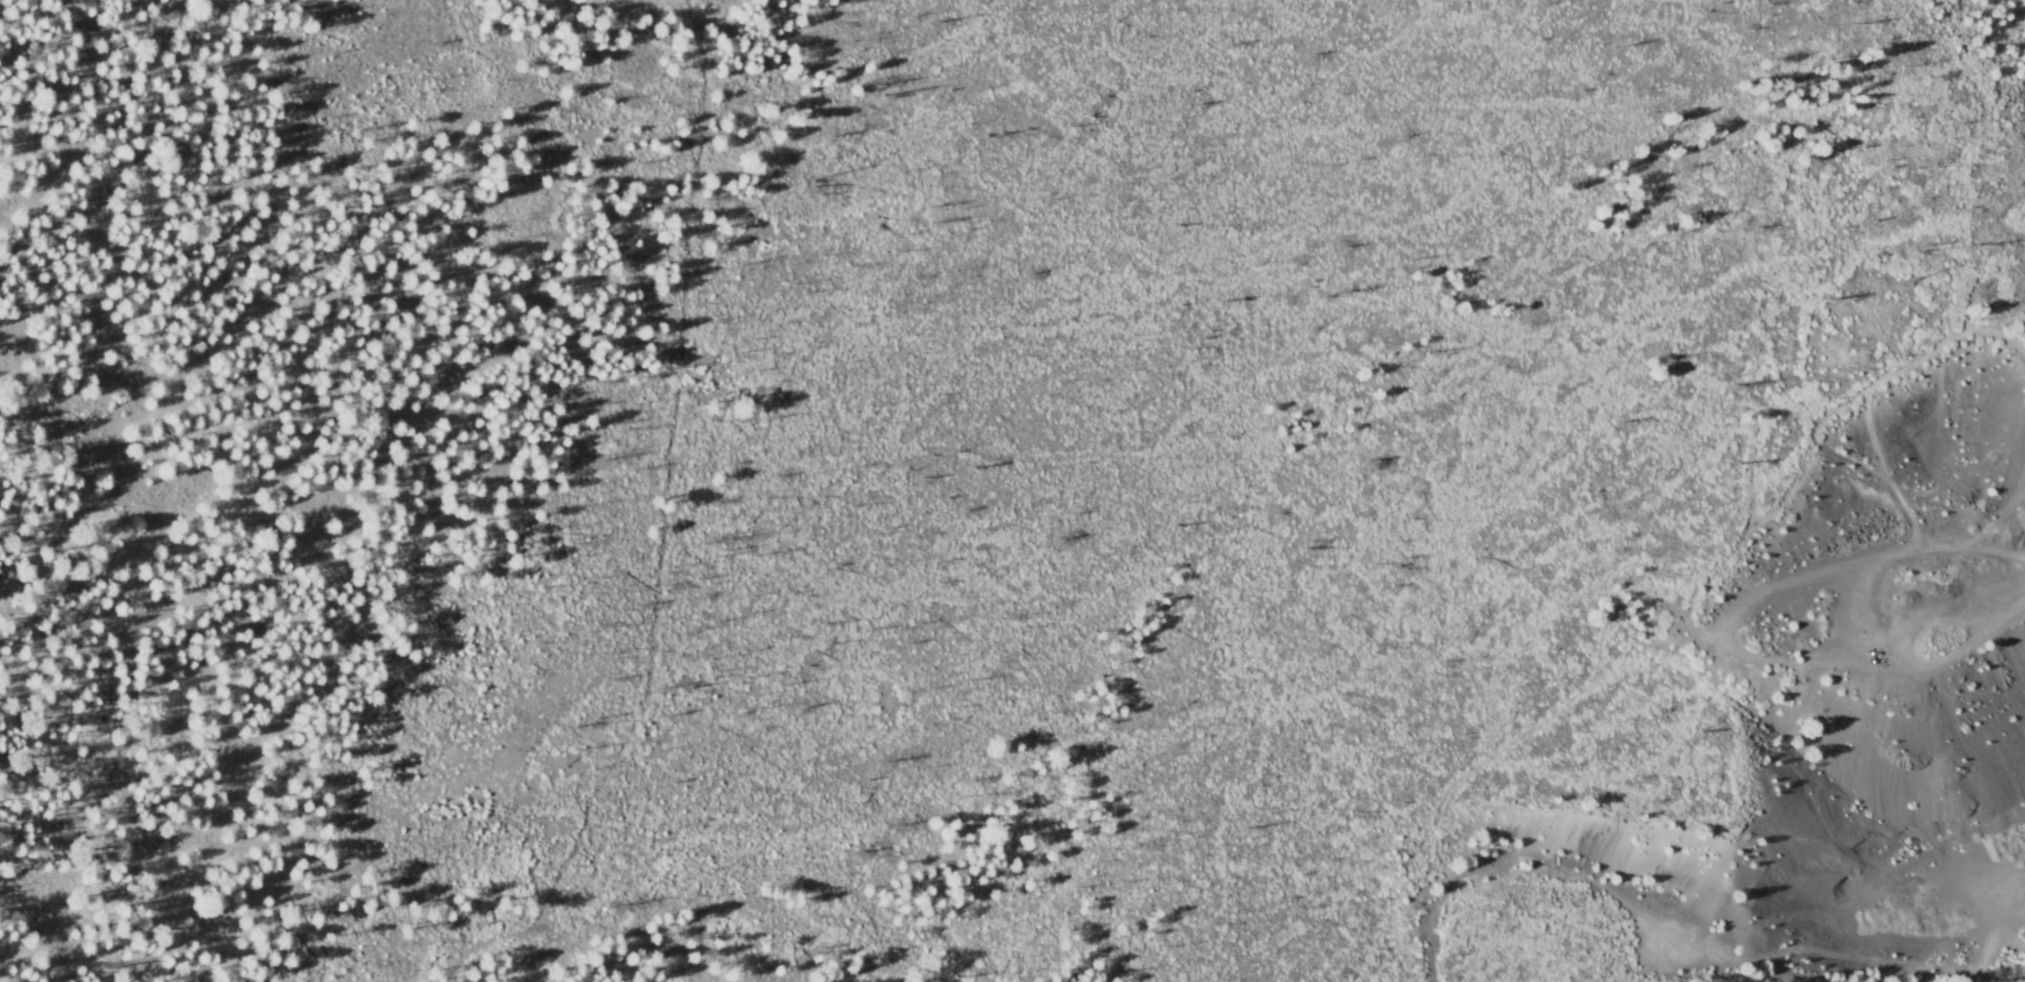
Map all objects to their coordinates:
road: (2017, 587)
road: (1990, 950)

